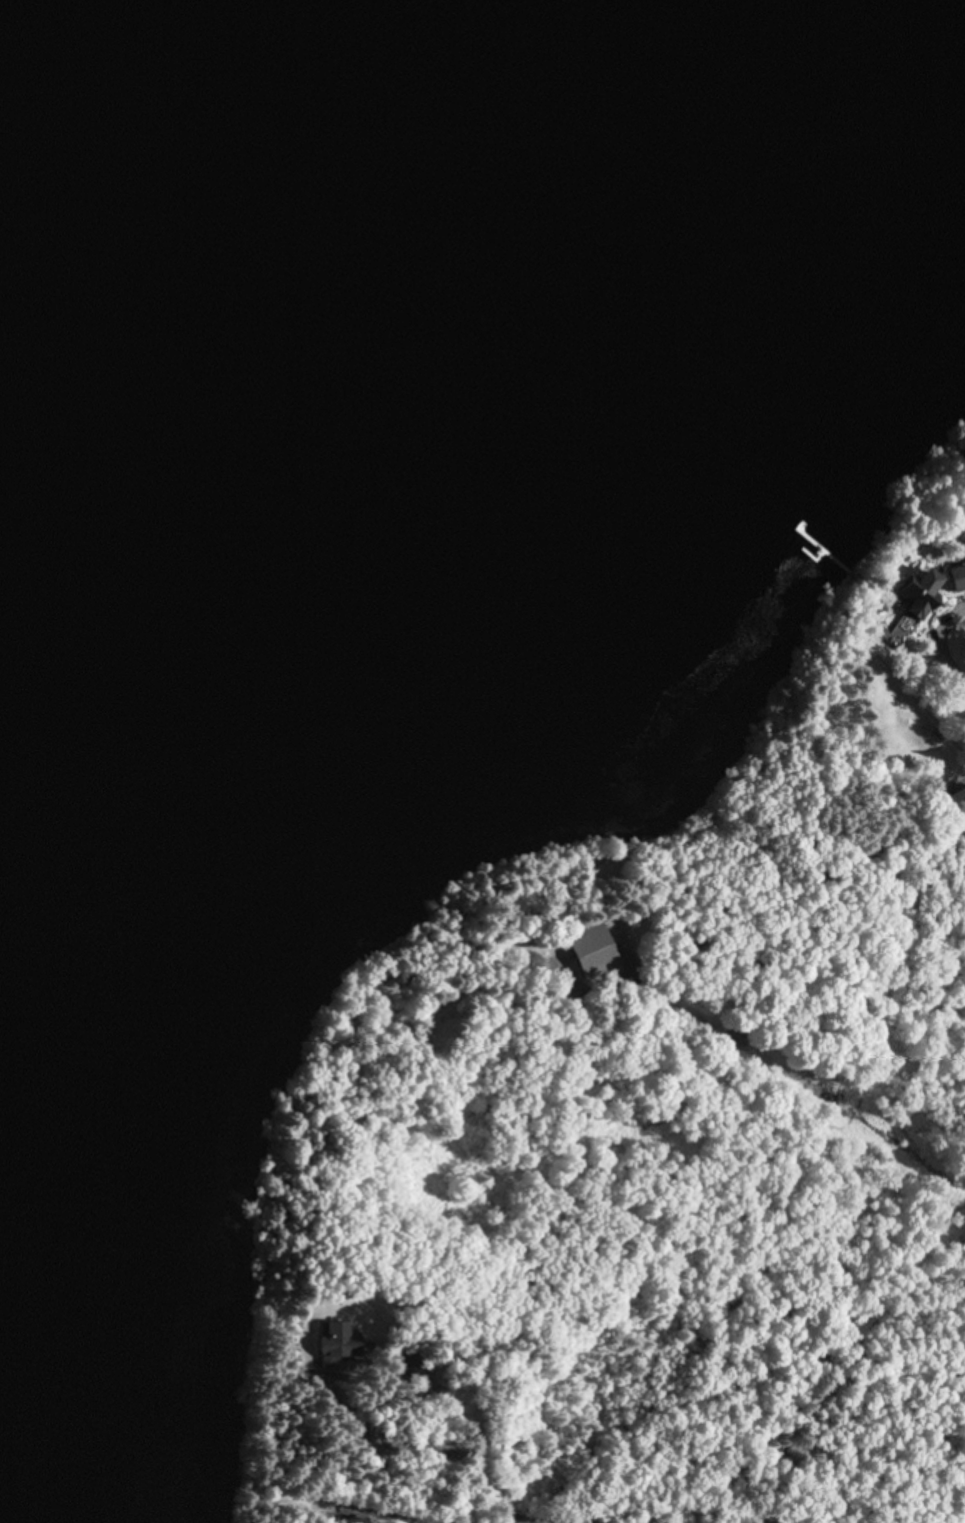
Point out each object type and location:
building: (960, 578)
building: (926, 603)
road: (776, 832)
building: (594, 952)
road: (435, 1396)
road: (672, 1514)

